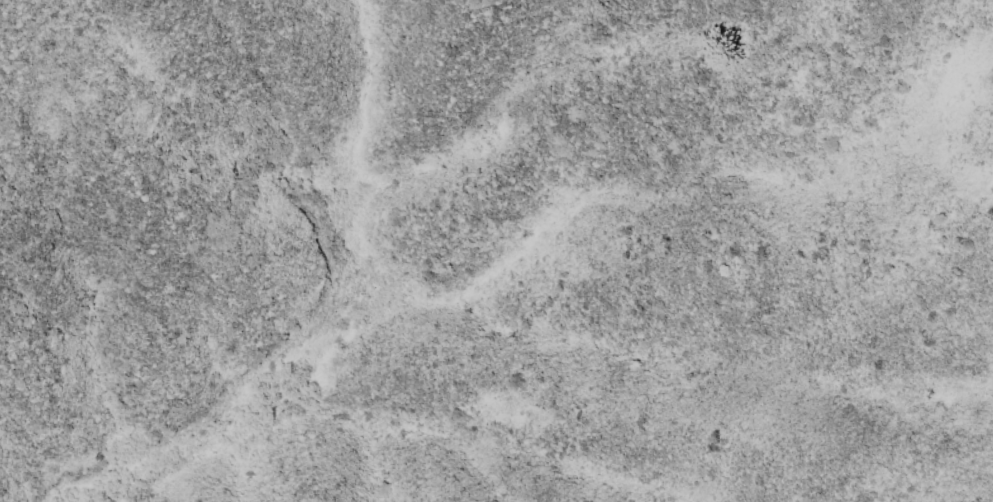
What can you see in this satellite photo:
park: (740, 252)

